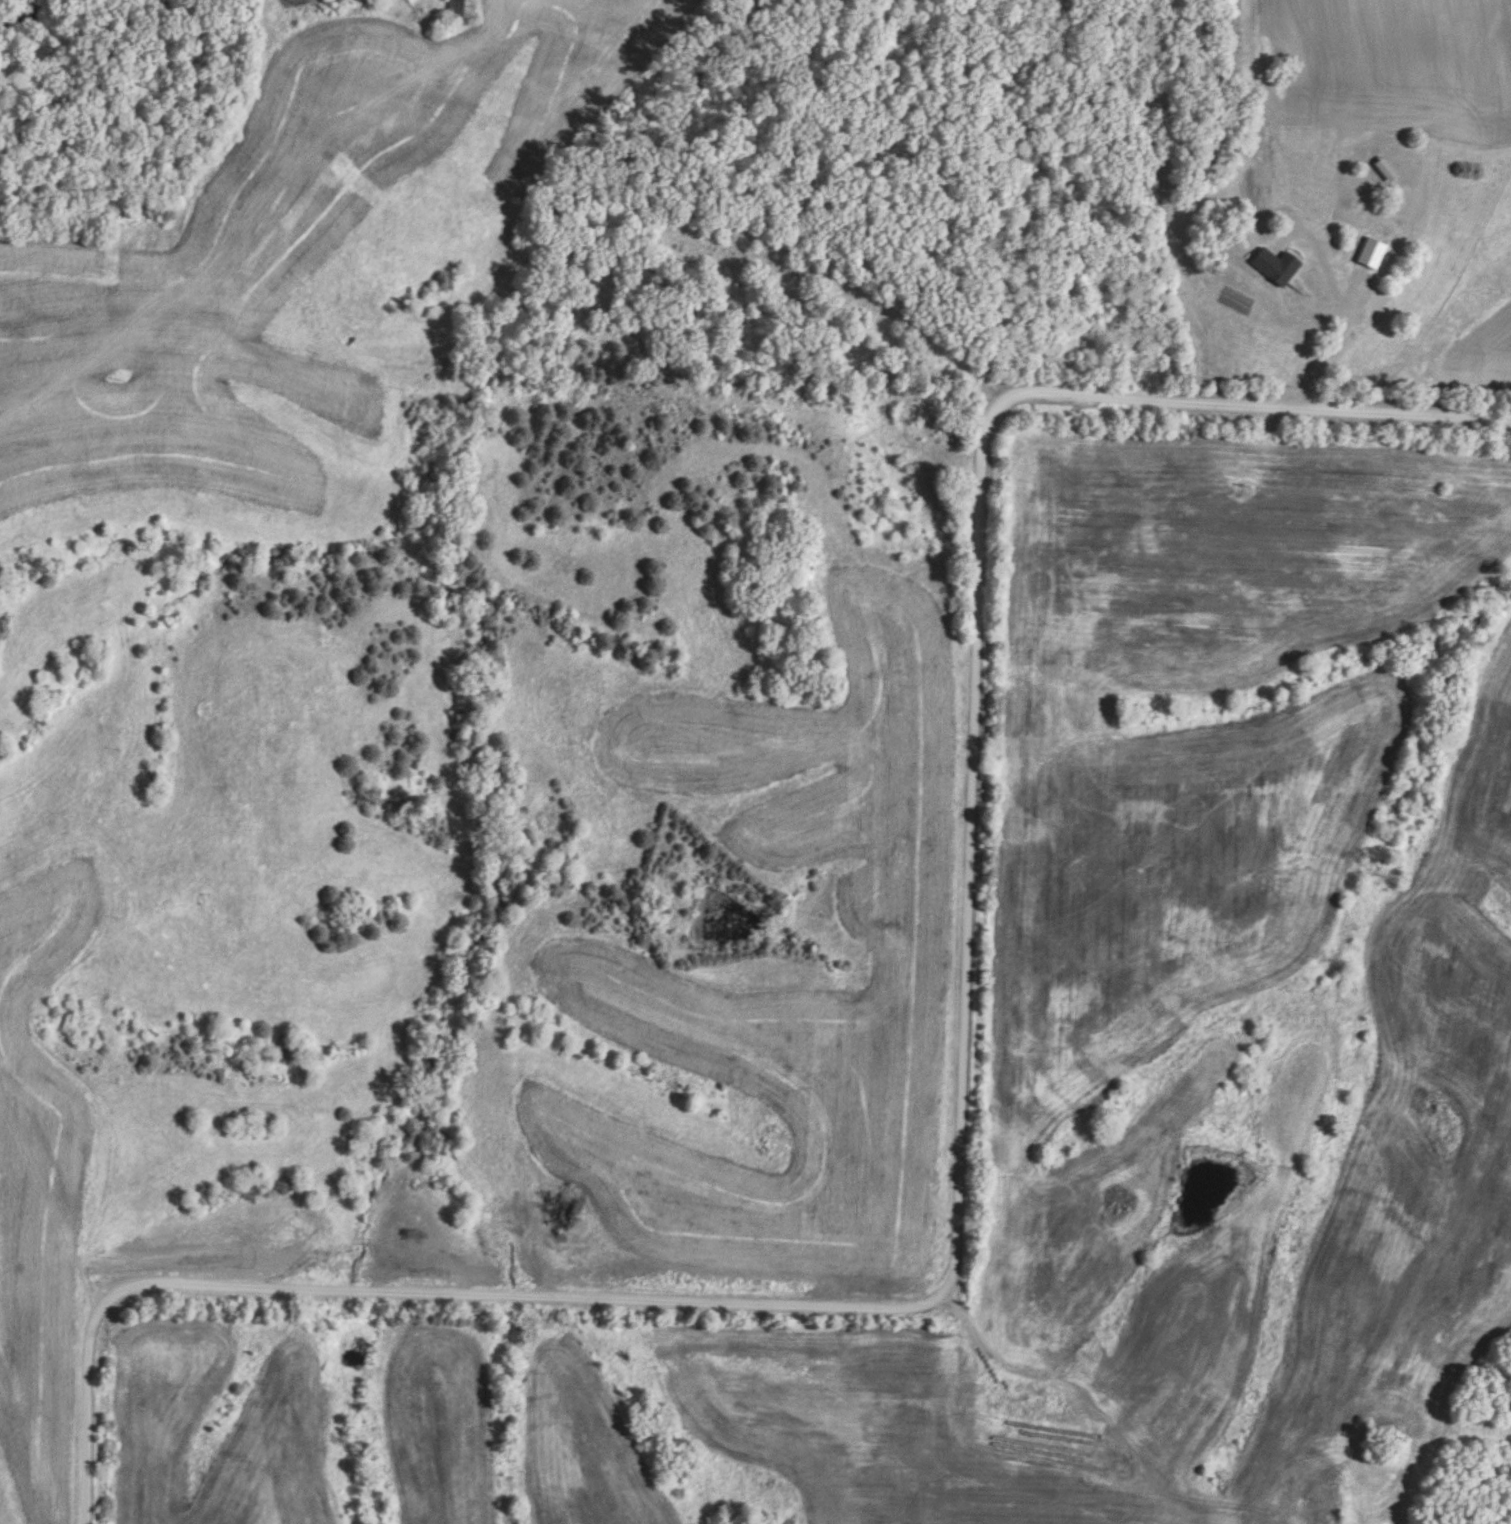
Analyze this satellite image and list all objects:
building: (463, 8)
building: (1381, 237)
road: (960, 1127)
building: (1310, 1490)

